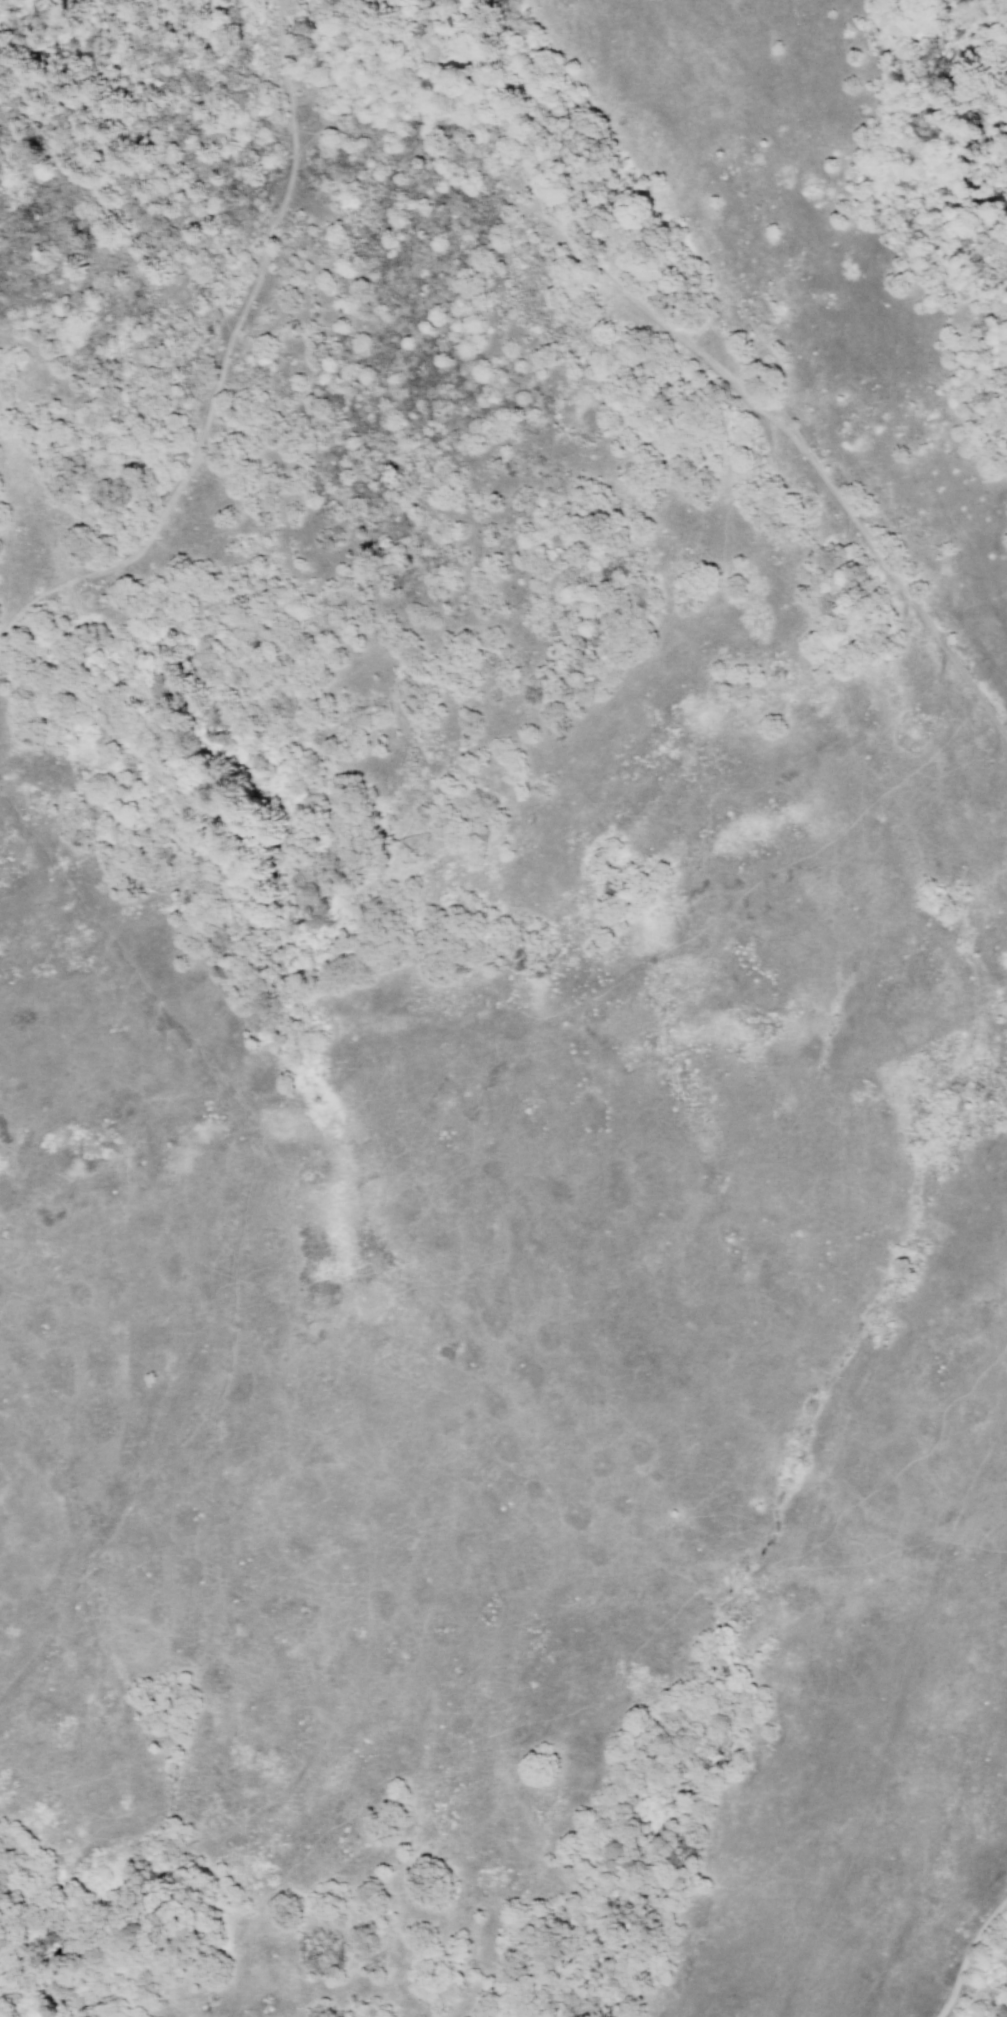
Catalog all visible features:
road: (224, 364)
road: (711, 369)
road: (30, 1928)
road: (967, 1956)

